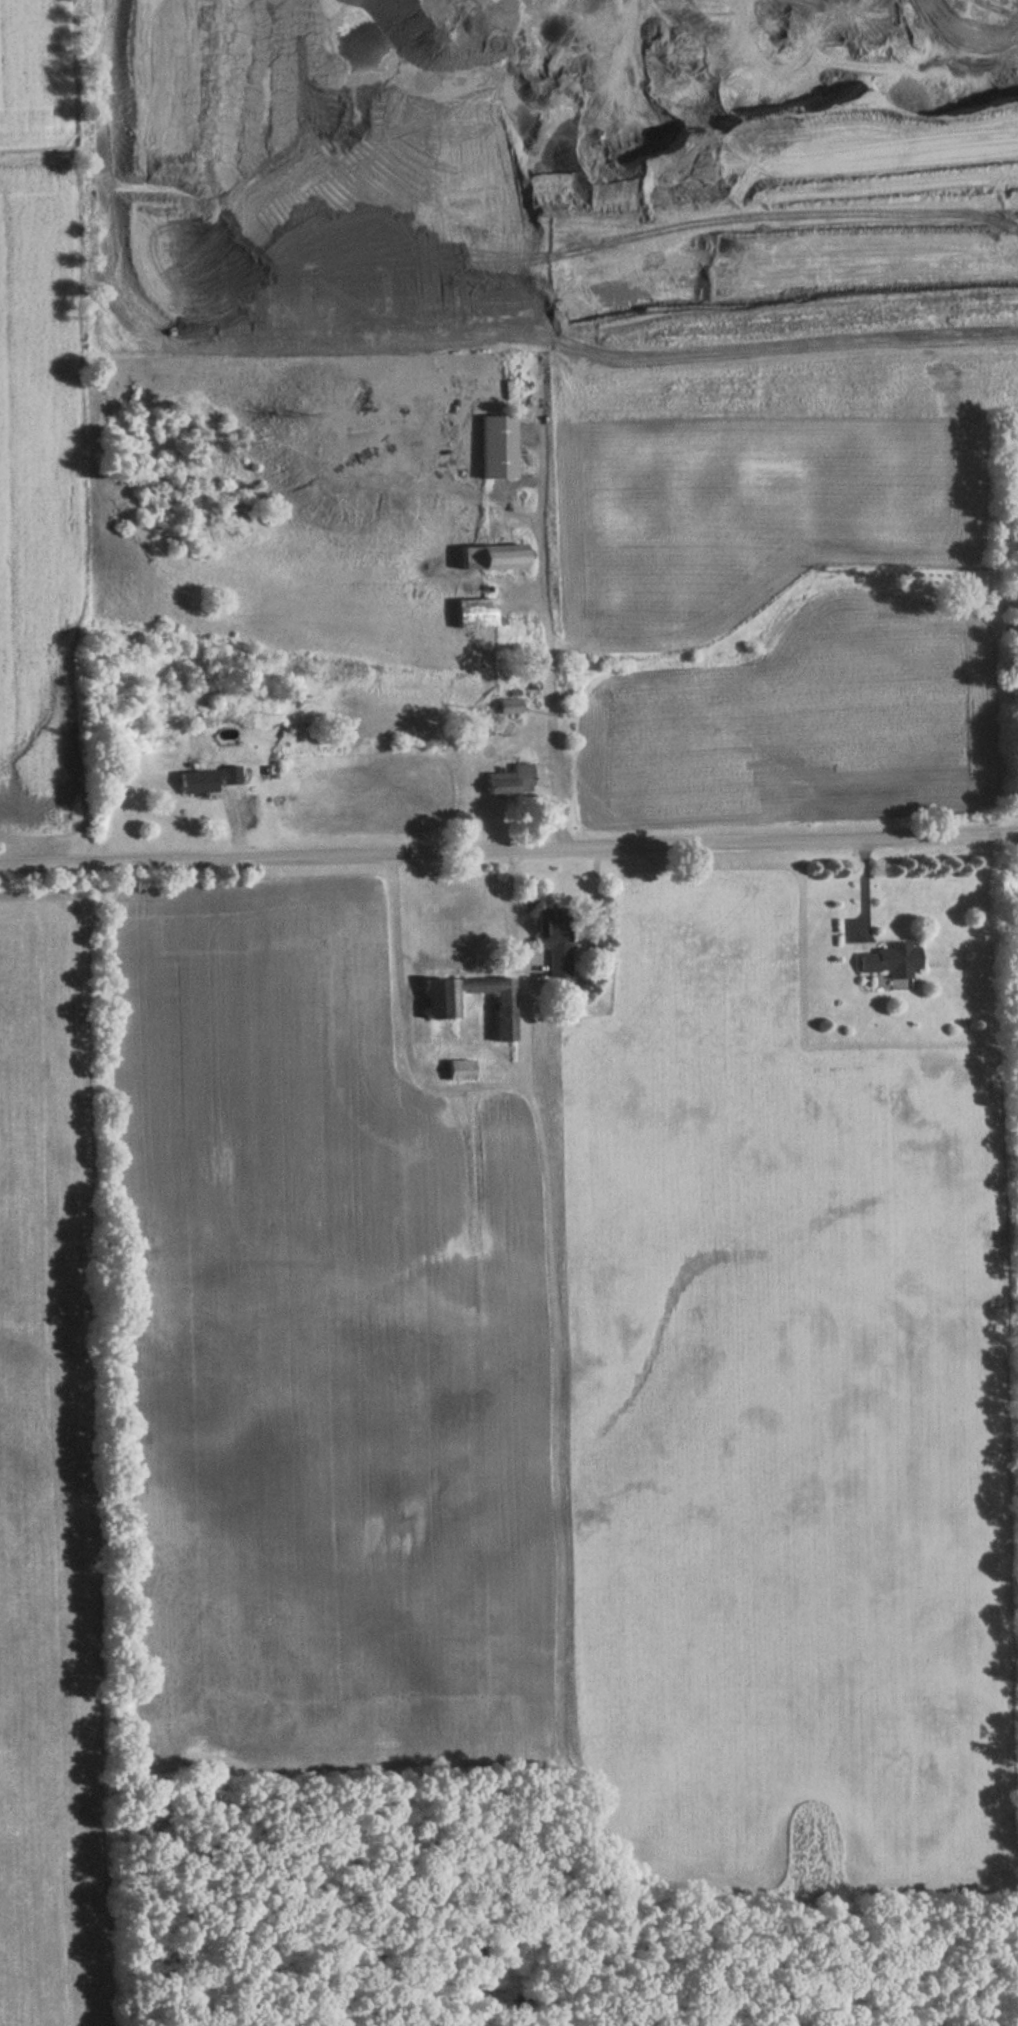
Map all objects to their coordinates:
quarry: (557, 183)
building: (497, 446)
building: (492, 558)
building: (474, 613)
road: (546, 636)
building: (509, 706)
building: (203, 780)
building: (510, 781)
road: (508, 850)
building: (554, 941)
building: (892, 963)
building: (440, 1006)
building: (460, 1069)

